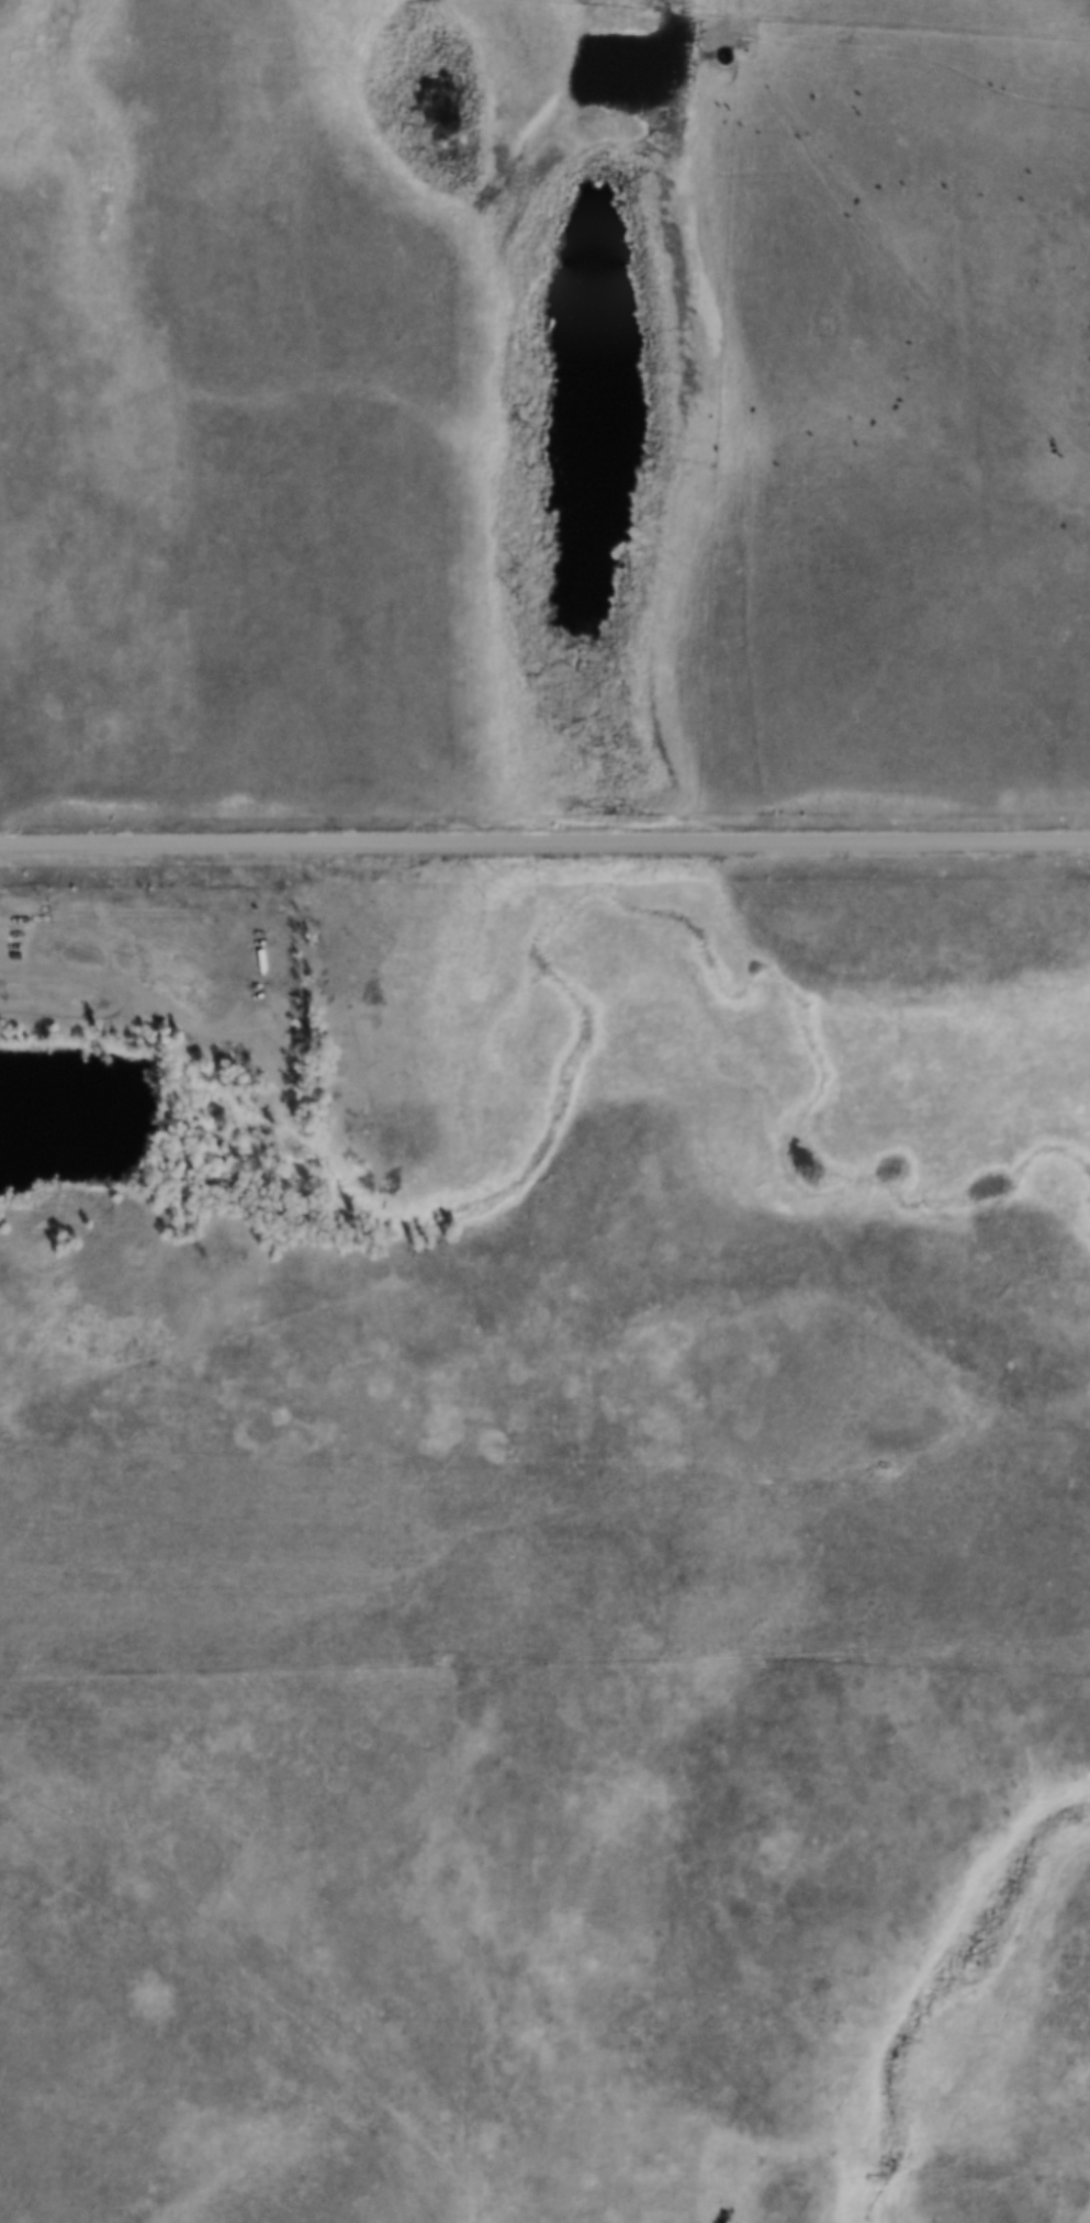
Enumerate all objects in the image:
road: (544, 845)
road: (89, 951)

